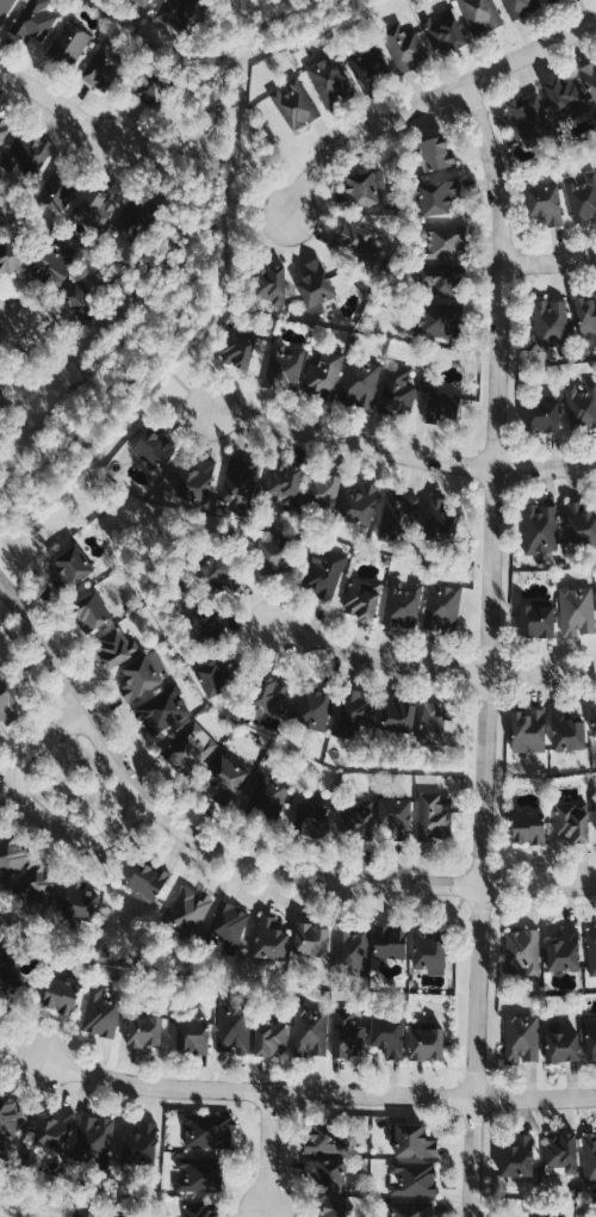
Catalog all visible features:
building: (145, 1)
building: (521, 6)
road: (297, 7)
building: (5, 8)
building: (175, 12)
building: (480, 16)
building: (33, 20)
building: (446, 31)
building: (72, 43)
building: (404, 47)
building: (330, 80)
building: (590, 80)
building: (149, 87)
building: (566, 95)
road: (426, 101)
road: (61, 103)
building: (296, 103)
building: (530, 117)
building: (6, 124)
building: (31, 153)
building: (435, 154)
building: (362, 189)
building: (58, 191)
building: (436, 196)
building: (582, 196)
building: (545, 203)
road: (252, 206)
building: (95, 208)
building: (1, 228)
building: (442, 241)
road: (198, 243)
building: (358, 243)
building: (19, 251)
road: (548, 261)
building: (50, 266)
building: (439, 278)
building: (269, 284)
building: (315, 284)
building: (79, 298)
road: (11, 319)
building: (586, 319)
building: (439, 320)
building: (551, 322)
building: (237, 351)
road: (72, 360)
building: (285, 366)
building: (325, 373)
road: (178, 382)
building: (361, 382)
building: (397, 391)
building: (582, 404)
building: (441, 408)
building: (541, 416)
road: (350, 440)
building: (154, 447)
road: (545, 468)
building: (197, 482)
building: (285, 482)
building: (241, 484)
building: (323, 492)
building: (359, 505)
building: (403, 511)
building: (440, 519)
building: (579, 525)
building: (541, 529)
building: (272, 551)
building: (70, 564)
building: (217, 574)
building: (325, 575)
building: (361, 598)
building: (403, 604)
building: (443, 605)
building: (577, 611)
building: (92, 613)
building: (536, 619)
building: (204, 628)
road: (485, 648)
building: (116, 651)
road: (377, 656)
road: (540, 672)
building: (143, 675)
building: (215, 677)
building: (269, 696)
building: (7, 700)
building: (313, 706)
building: (163, 709)
building: (354, 713)
building: (398, 716)
building: (592, 721)
building: (435, 727)
building: (528, 731)
building: (566, 731)
building: (0, 733)
building: (190, 748)
building: (225, 780)
building: (268, 795)
road: (38, 803)
building: (595, 809)
building: (433, 816)
building: (395, 817)
building: (311, 820)
building: (572, 820)
building: (358, 821)
building: (527, 828)
road: (232, 855)
building: (12, 857)
building: (147, 881)
building: (38, 884)
building: (79, 901)
building: (190, 912)
building: (229, 922)
building: (269, 940)
building: (310, 940)
building: (389, 943)
building: (352, 949)
building: (564, 951)
building: (591, 952)
building: (427, 953)
building: (522, 953)
building: (11, 980)
building: (61, 995)
building: (103, 1014)
building: (234, 1031)
building: (144, 1032)
building: (310, 1032)
building: (348, 1034)
building: (192, 1036)
building: (271, 1038)
building: (387, 1038)
building: (522, 1038)
building: (590, 1038)
building: (426, 1045)
building: (560, 1045)
road: (317, 1094)
building: (10, 1117)
building: (55, 1131)
building: (209, 1131)
building: (95, 1137)
building: (327, 1142)
building: (414, 1142)
building: (139, 1143)
road: (266, 1151)
building: (560, 1153)
building: (589, 1157)
building: (517, 1159)
building: (199, 1174)
building: (325, 1176)
building: (414, 1179)
building: (200, 1209)
building: (334, 1209)
building: (404, 1210)

